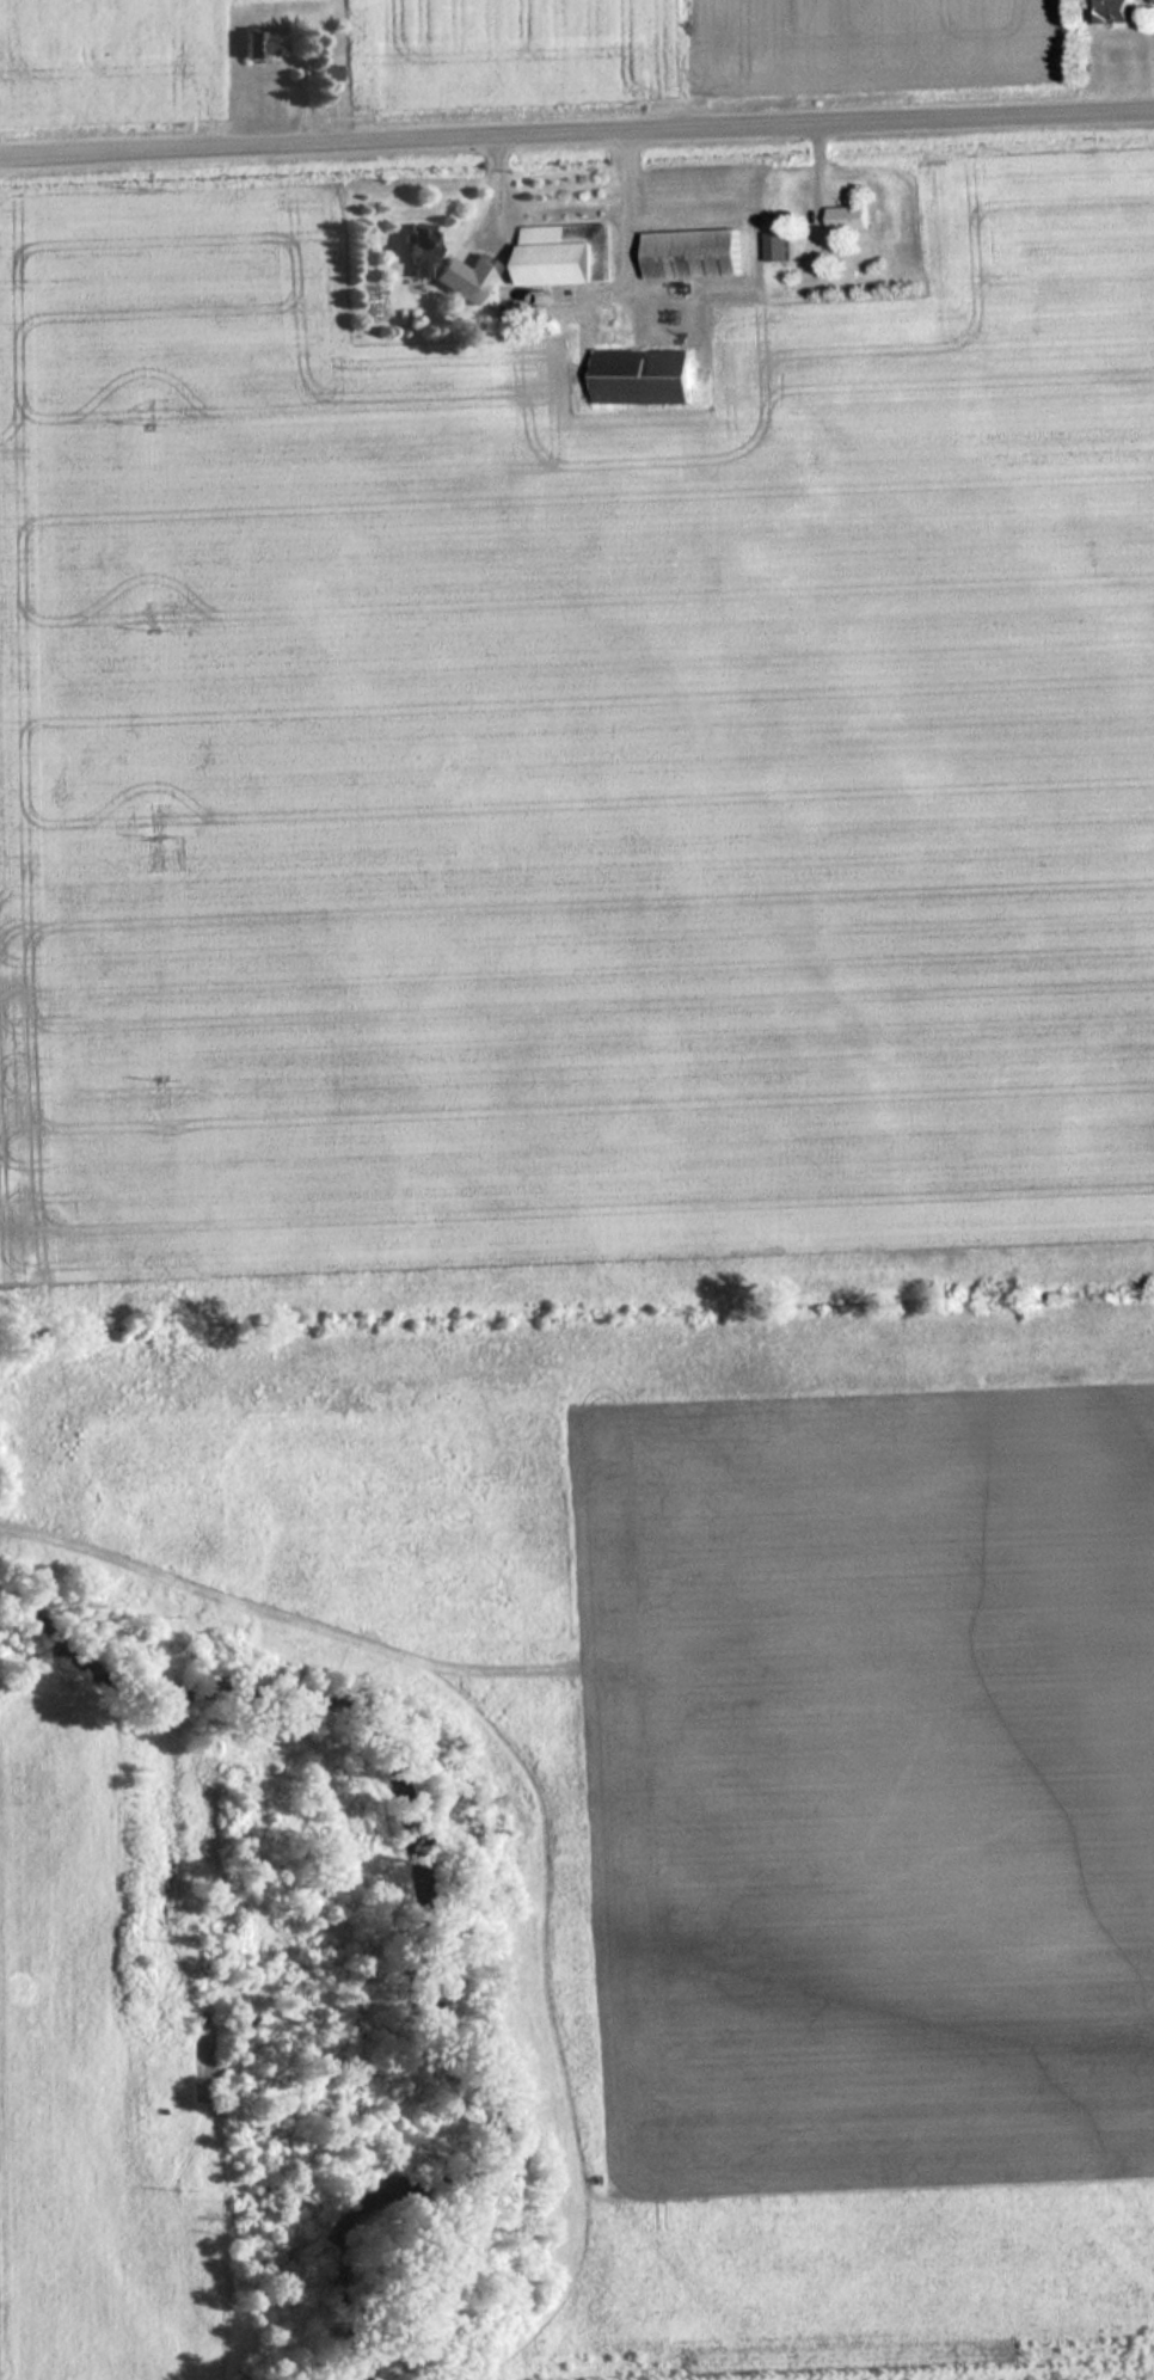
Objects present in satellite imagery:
building: (1119, 12)
building: (263, 44)
building: (331, 74)
road: (577, 137)
building: (851, 219)
building: (422, 245)
building: (779, 247)
building: (571, 253)
building: (698, 254)
building: (466, 277)
building: (645, 378)
river: (426, 1901)

